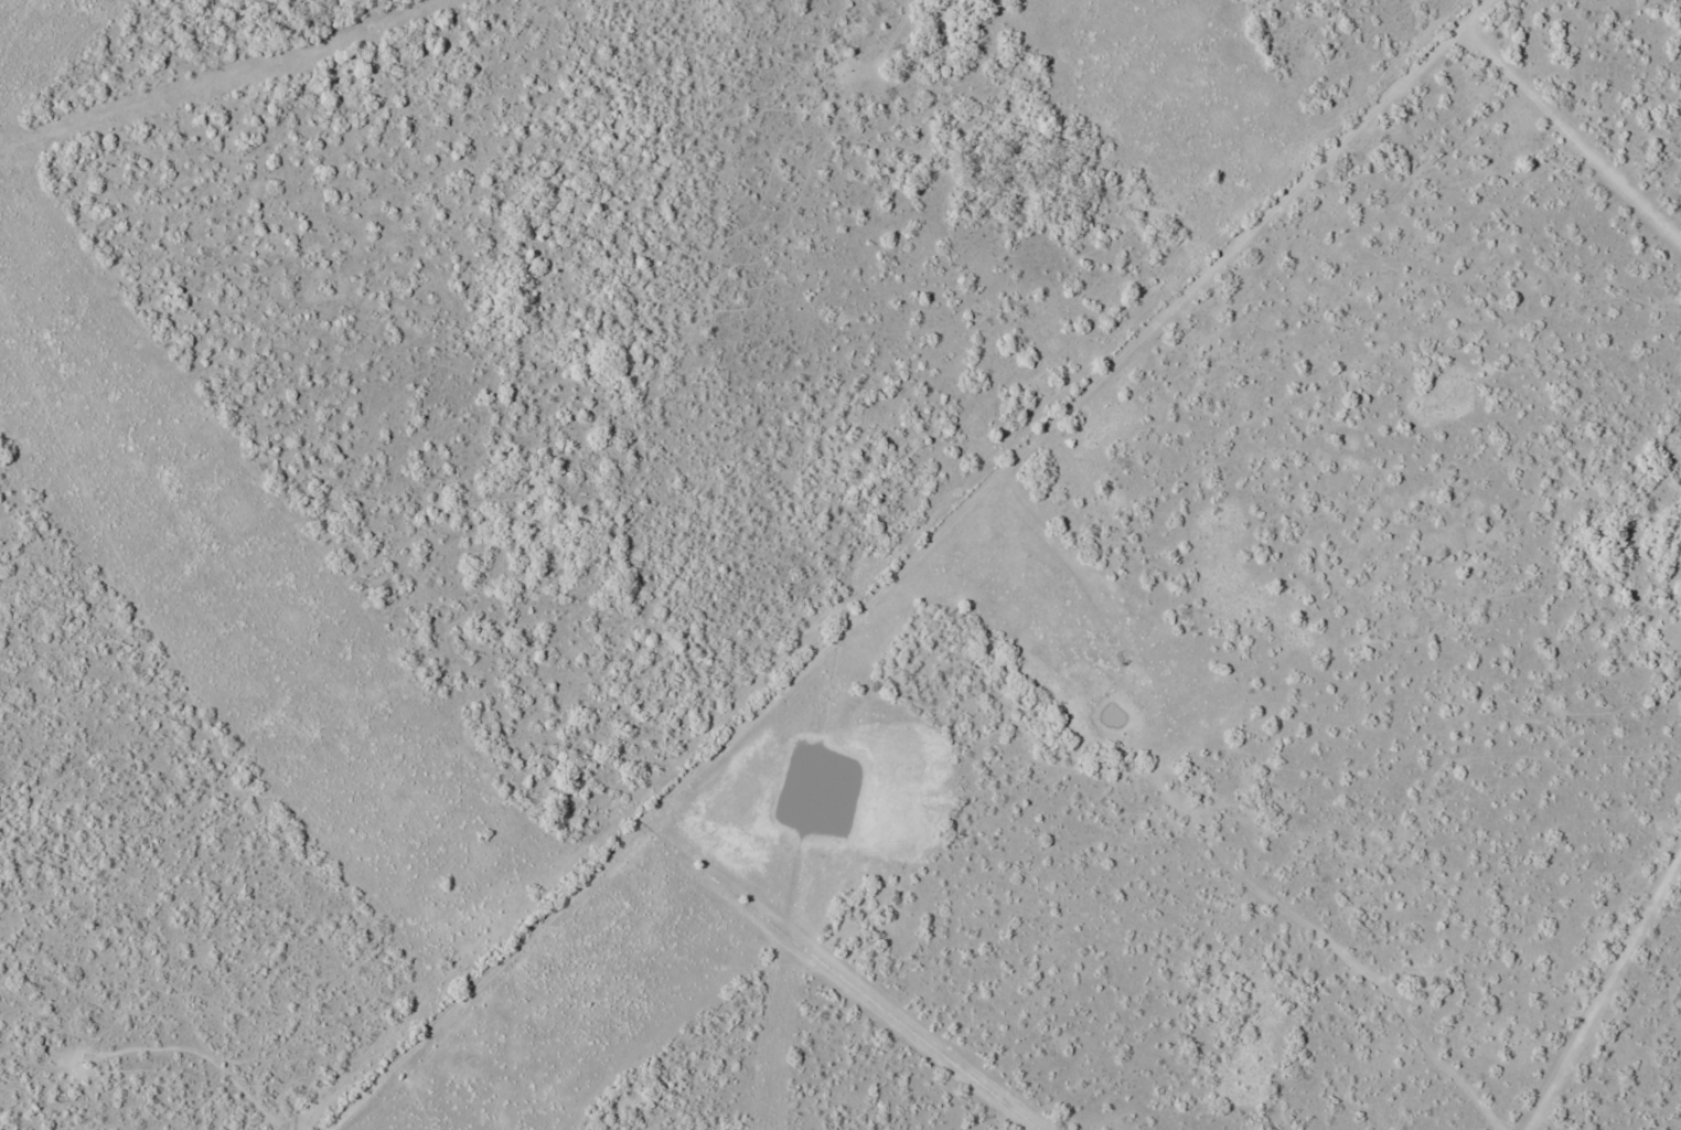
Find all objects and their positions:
road: (1489, 29)
road: (1010, 491)

